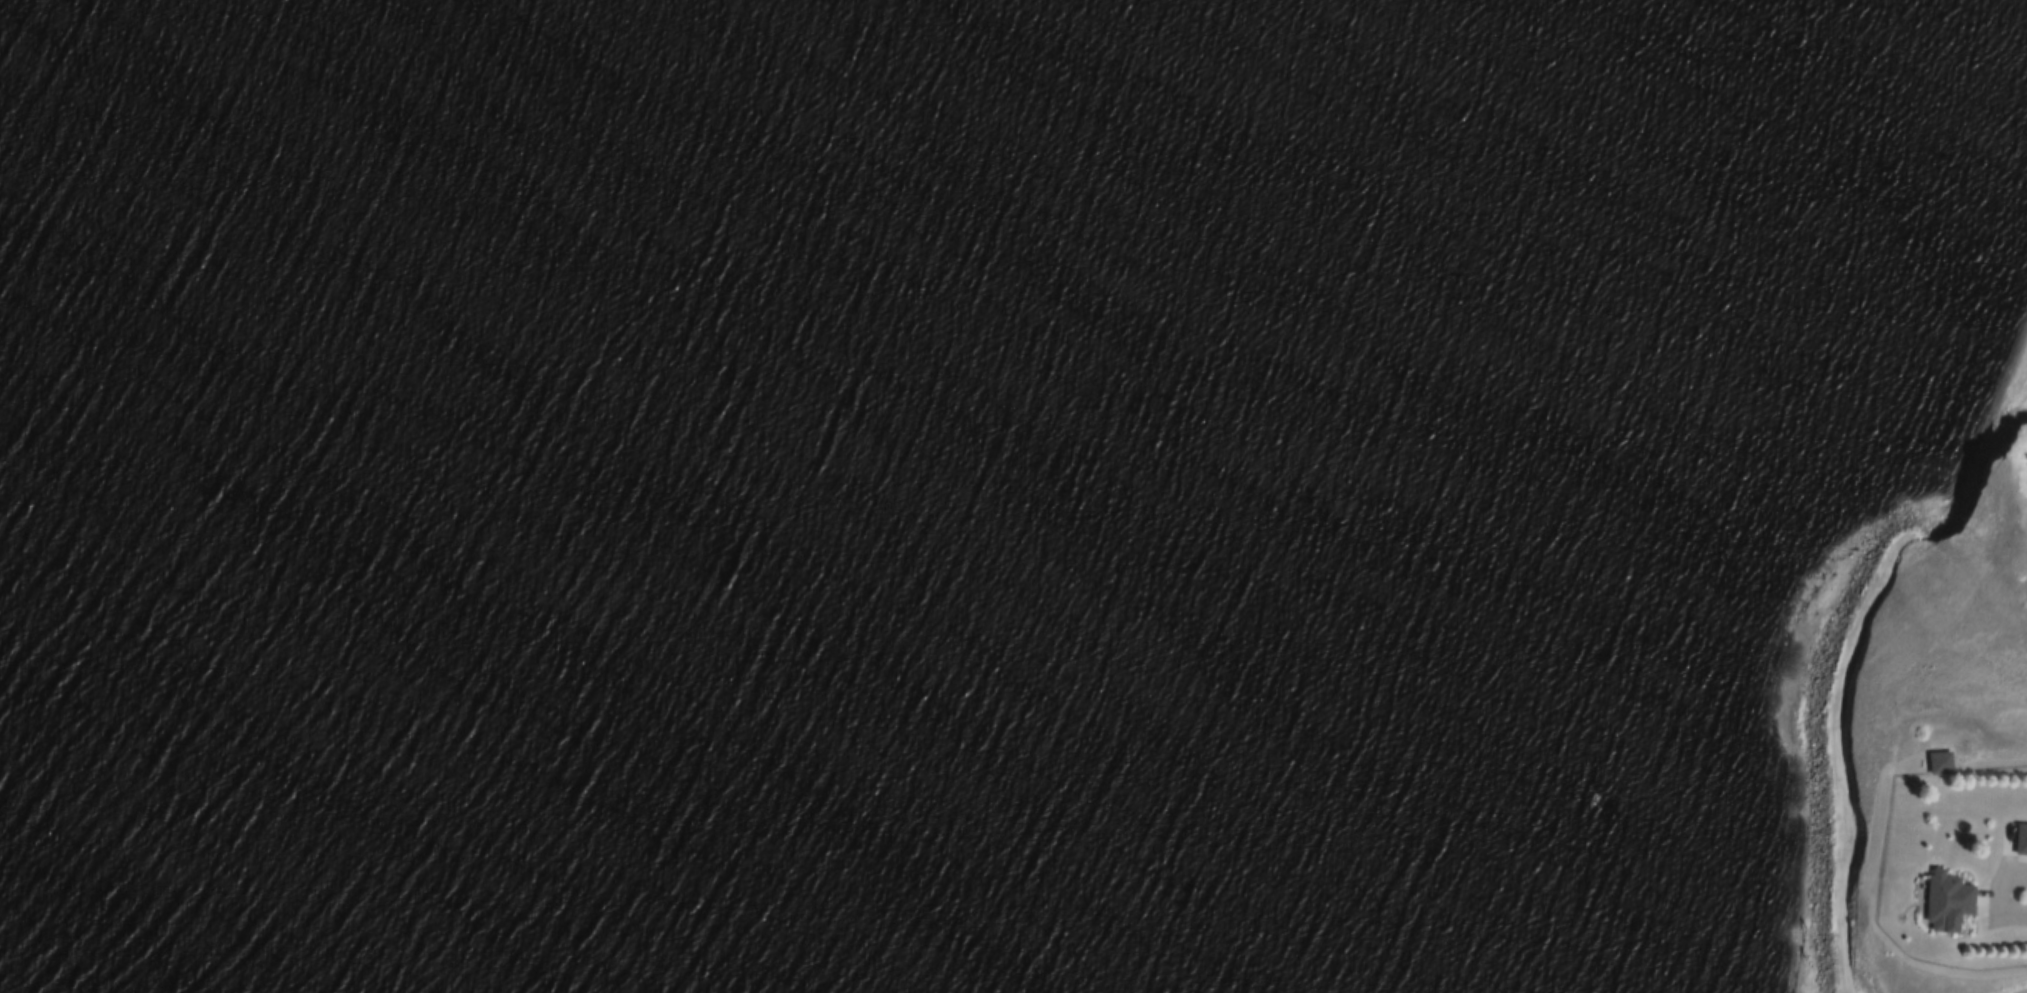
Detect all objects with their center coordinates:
building: (1940, 760)
building: (2022, 839)
road: (1997, 900)
building: (1951, 902)

